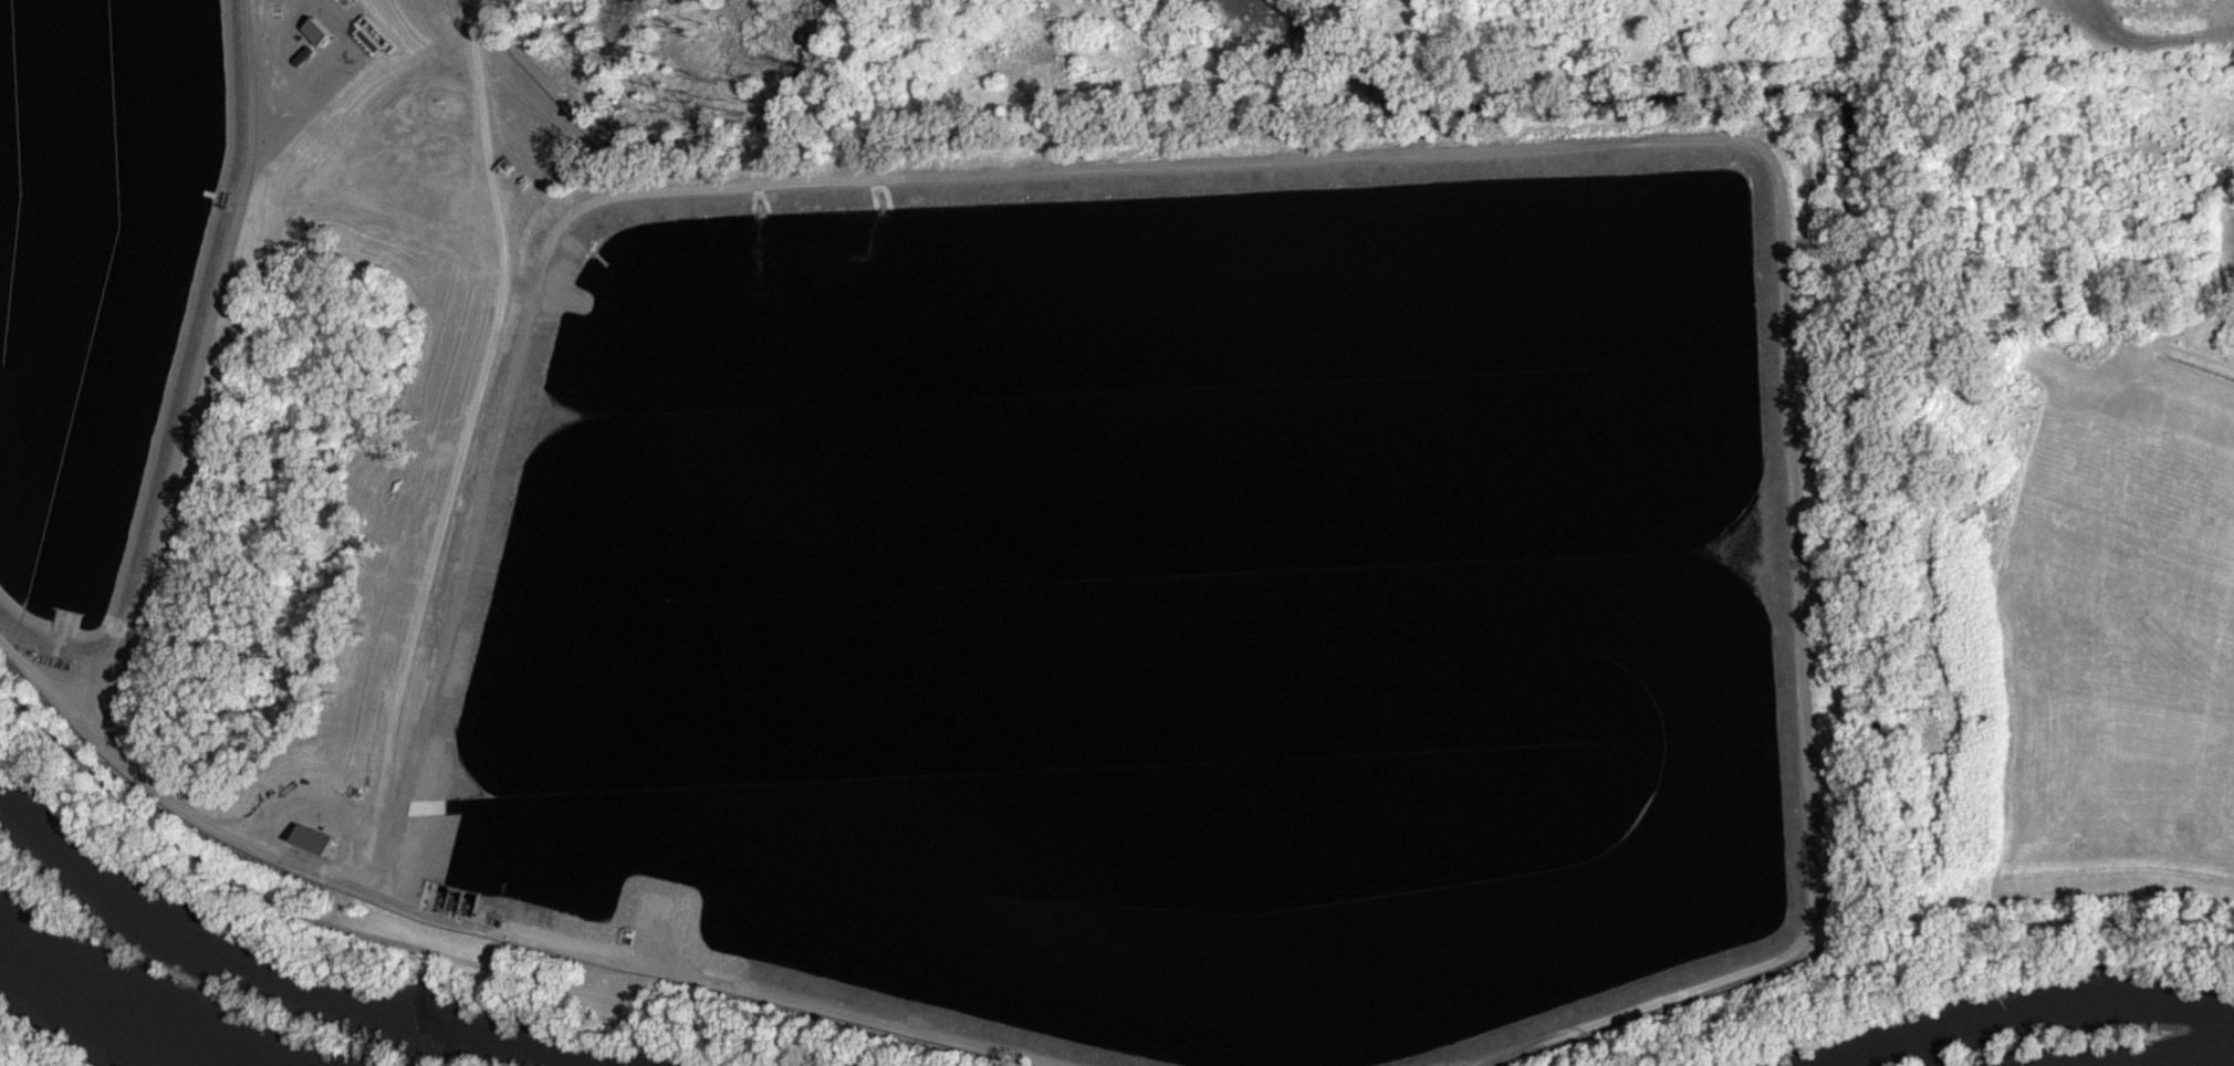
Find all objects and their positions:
building: (320, 39)
road: (1387, 155)
road: (471, 416)
road: (161, 523)
wastewater plant: (935, 556)
park: (2070, 633)
road: (60, 694)
building: (317, 847)
road: (407, 947)
road: (1910, 950)
road: (712, 982)
river: (134, 1007)
river: (2102, 1064)

